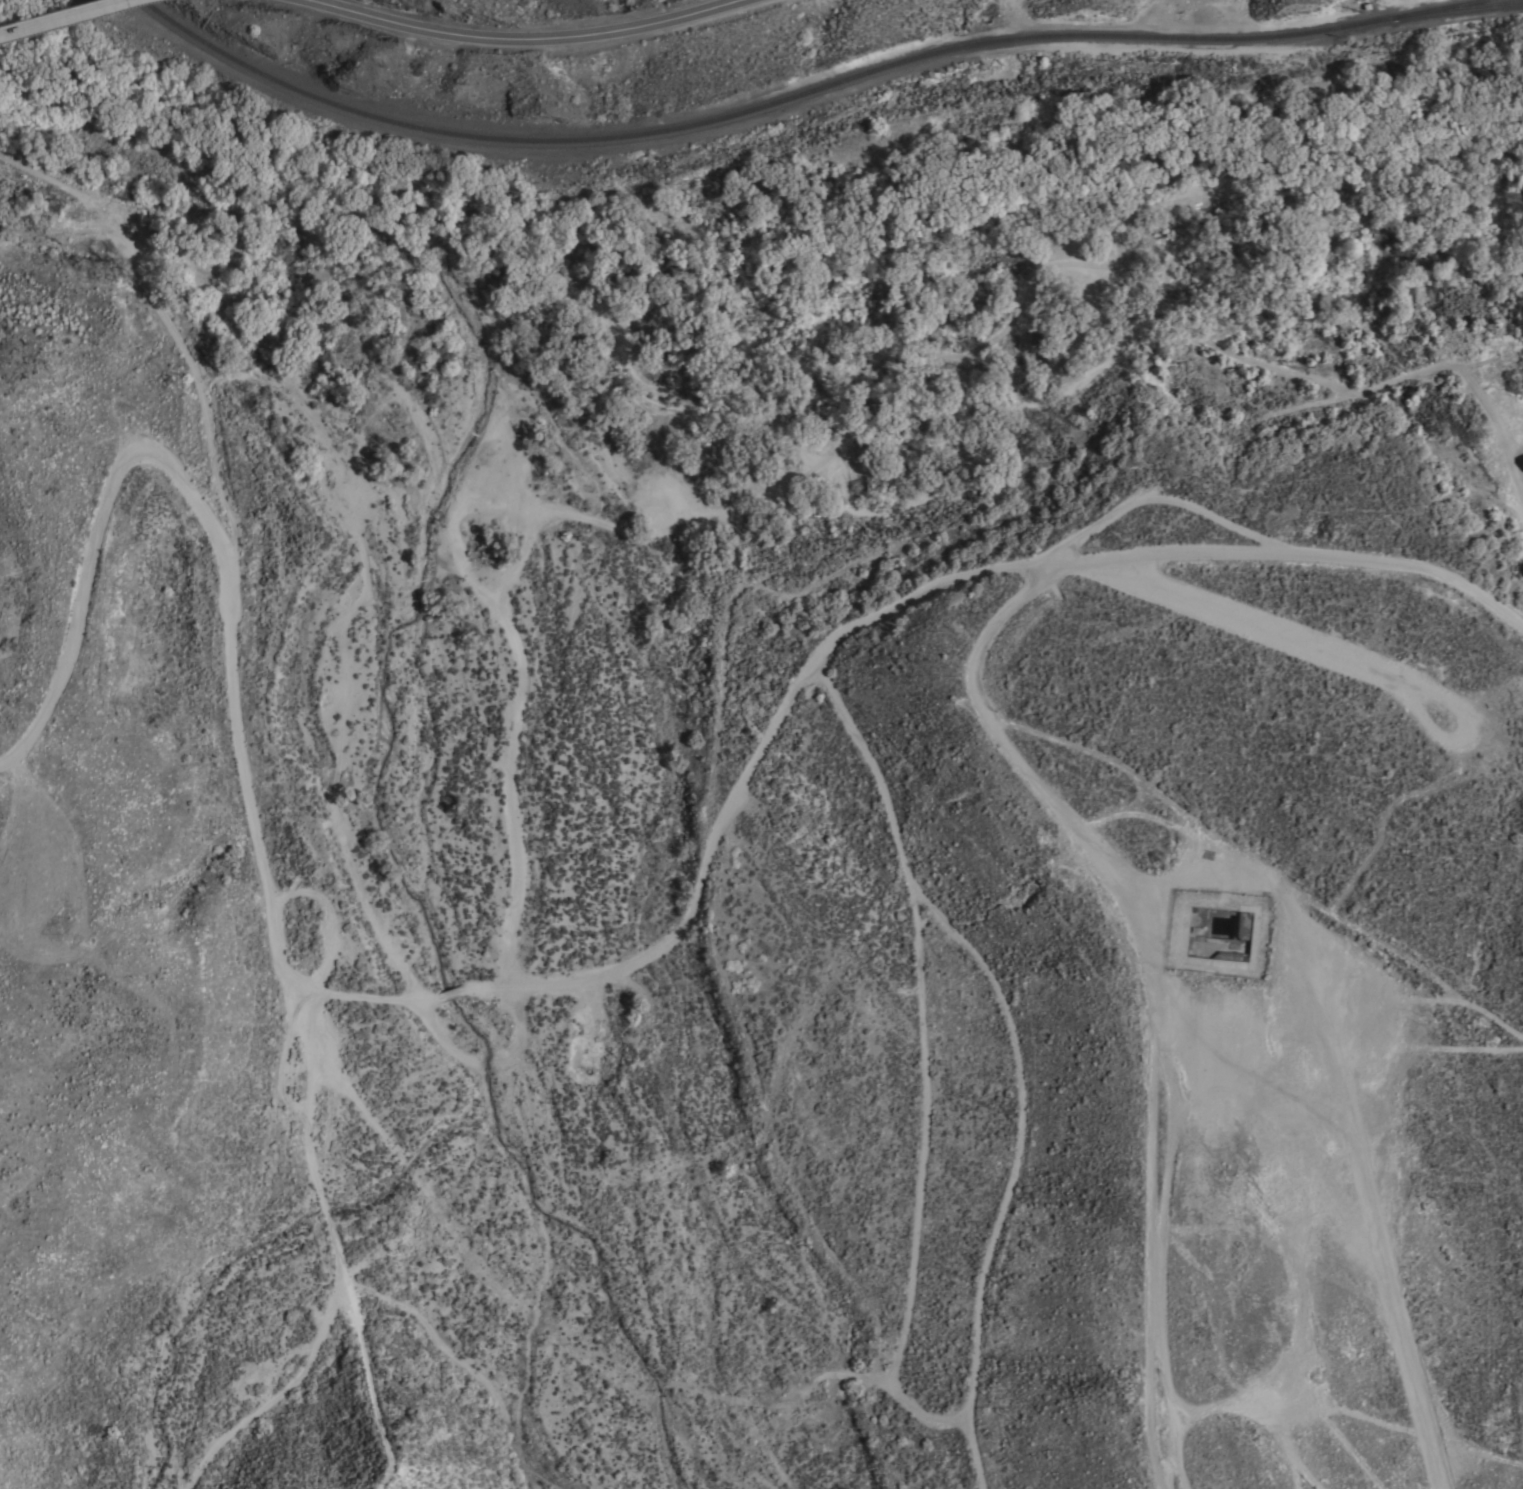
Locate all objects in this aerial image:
railway: (1451, 5)
railway: (1472, 5)
road: (62, 15)
railway: (1106, 36)
road: (518, 40)
railway: (455, 135)
road: (185, 346)
building: (1522, 458)
building: (1522, 460)
road: (1219, 623)
road: (1090, 864)
road: (560, 983)
road: (922, 1017)
road: (1147, 1135)
road: (1013, 1173)
road: (1295, 1272)
road: (888, 1392)
road: (1349, 1414)
road: (1445, 1423)
road: (1168, 1471)
road: (1302, 1477)

